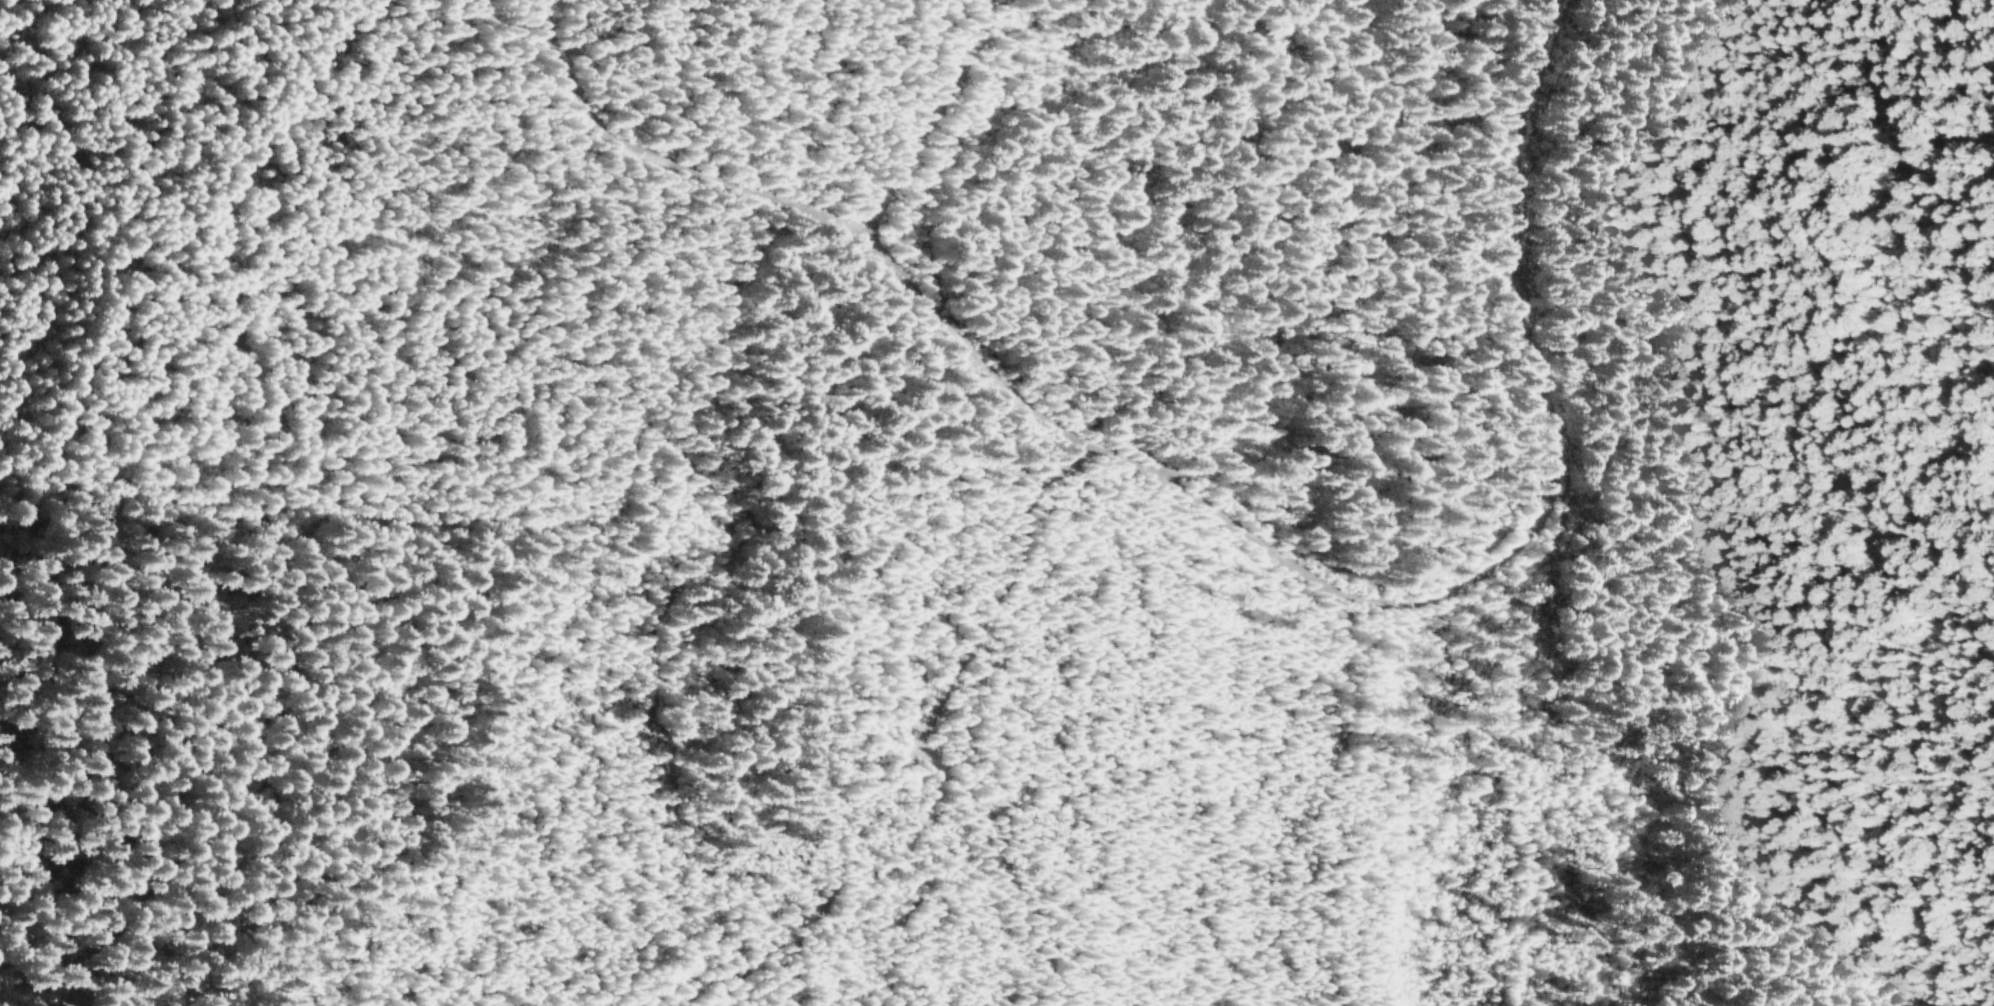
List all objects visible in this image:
road: (1222, 512)

